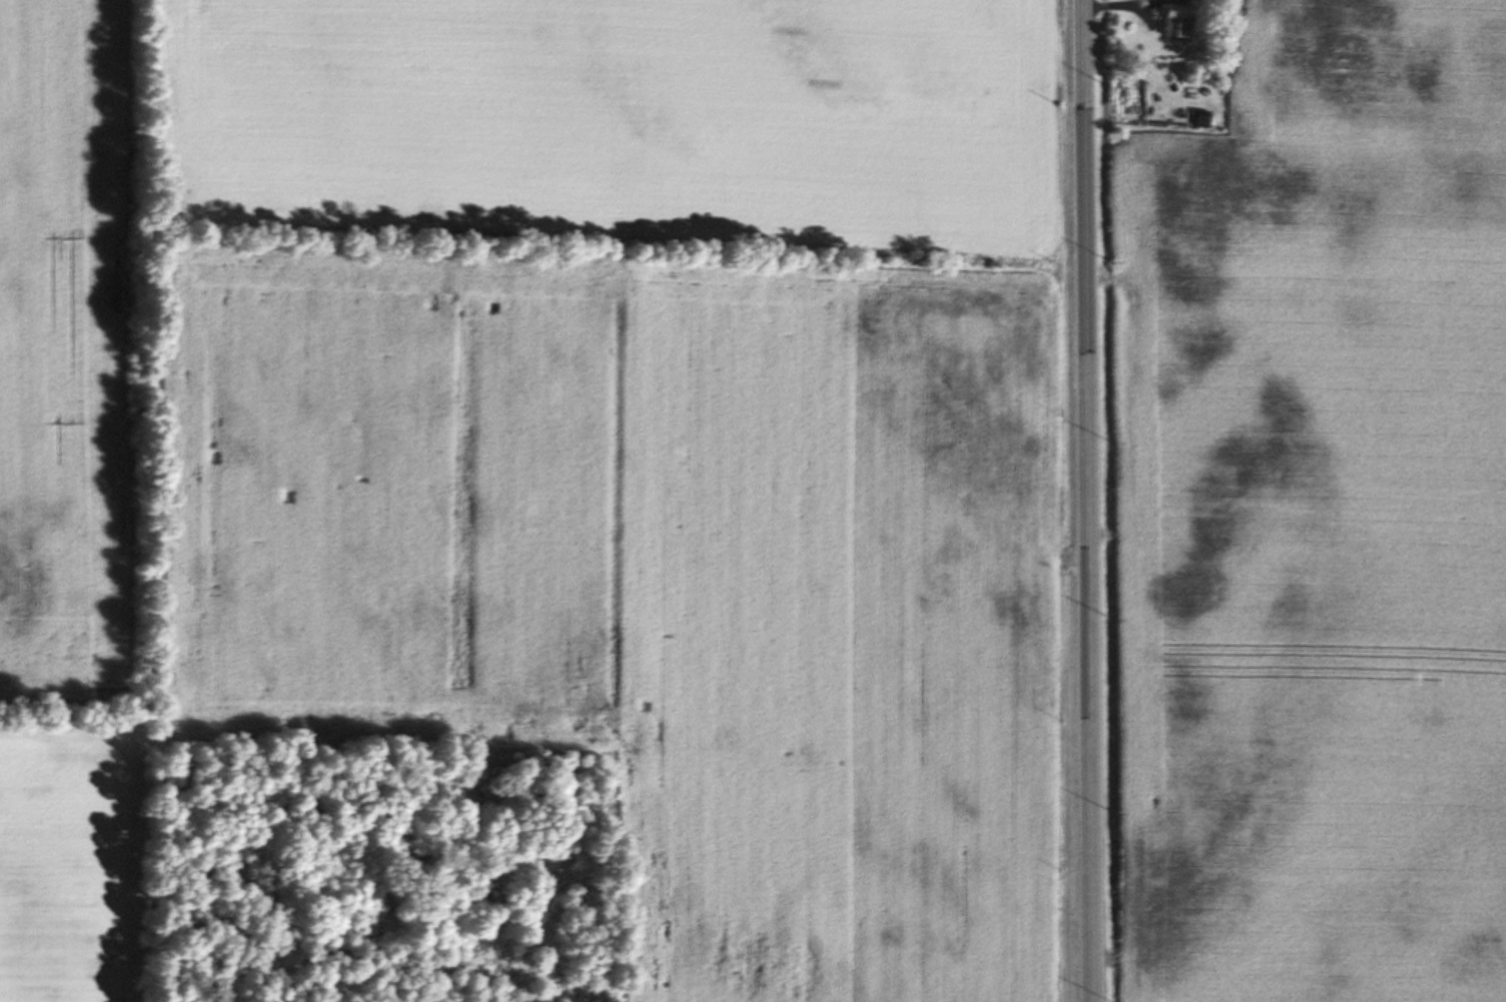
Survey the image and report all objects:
building: (1171, 19)
road: (1088, 500)

